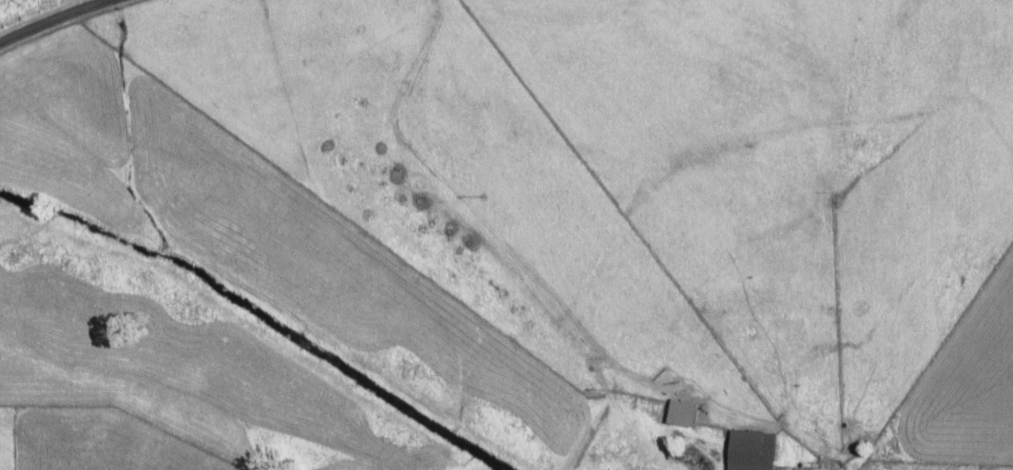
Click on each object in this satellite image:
road: (52, 18)
building: (684, 413)
building: (753, 450)

